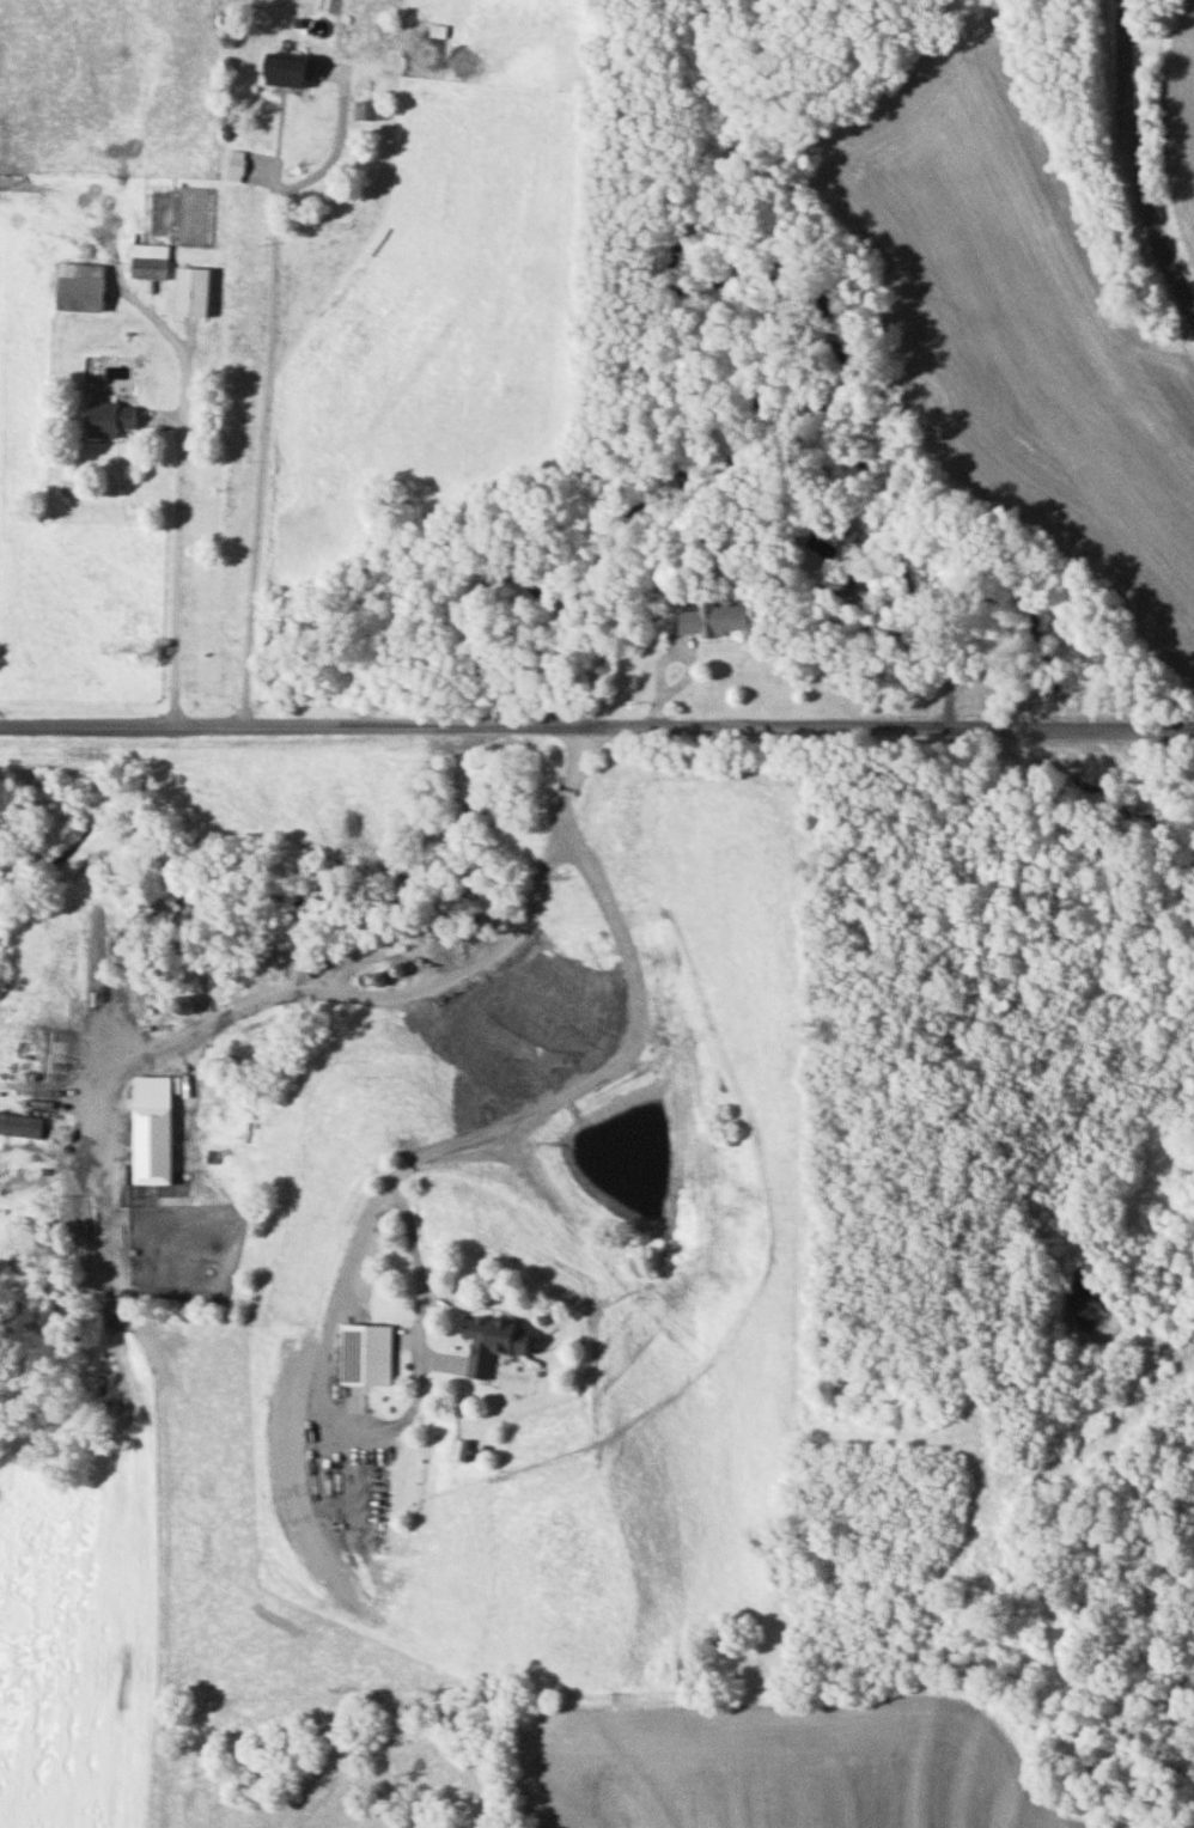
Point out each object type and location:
building: (435, 30)
building: (285, 69)
building: (370, 109)
crop: (1180, 132)
road: (1133, 160)
building: (233, 165)
building: (148, 261)
building: (79, 286)
building: (191, 292)
crop: (1012, 313)
road: (268, 409)
building: (110, 416)
road: (181, 568)
building: (714, 619)
road: (597, 723)
road: (406, 983)
road: (615, 1059)
building: (20, 1125)
building: (152, 1128)
building: (489, 1340)
building: (367, 1352)
road: (337, 1395)
crop: (72, 1637)
crop: (786, 1763)

